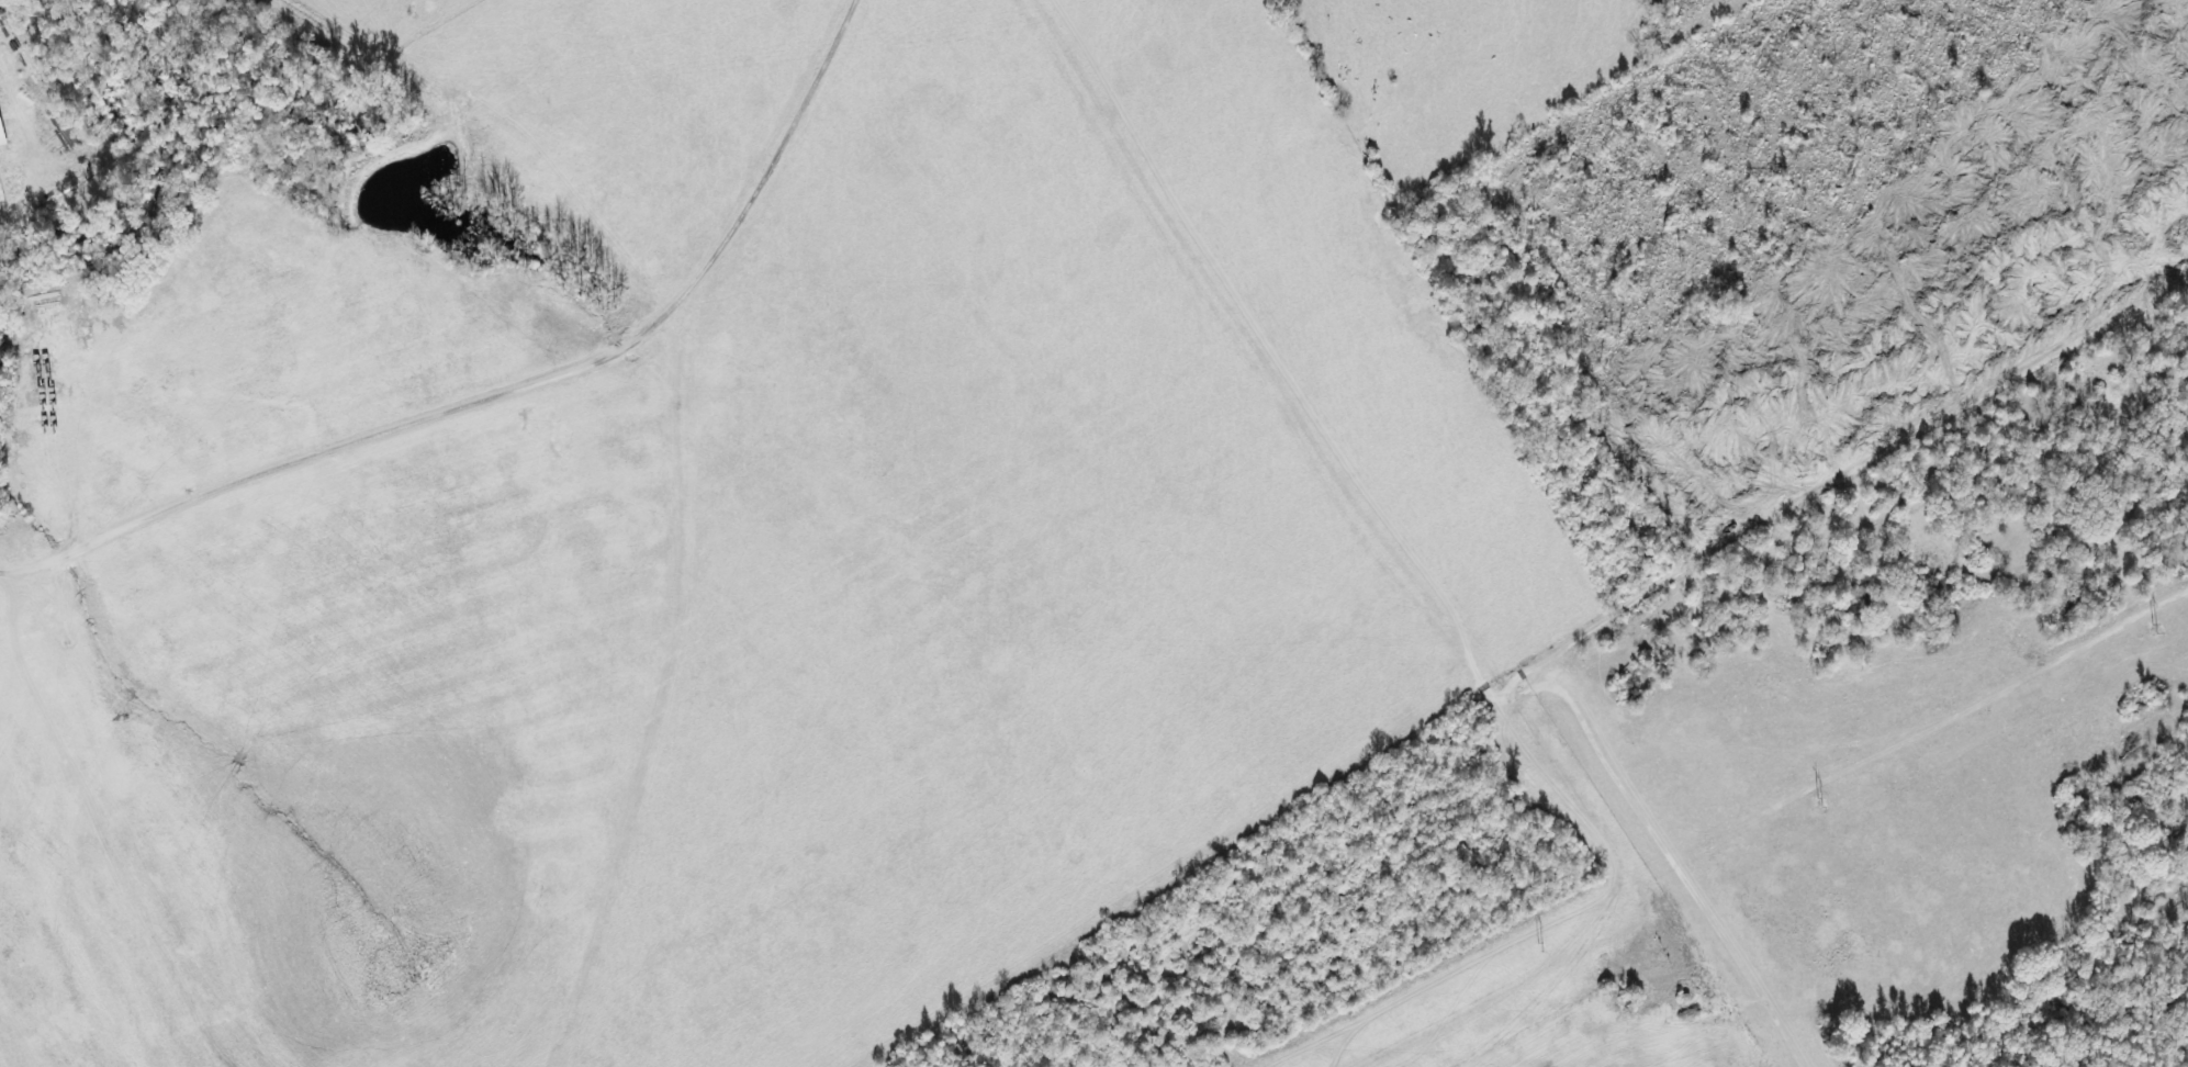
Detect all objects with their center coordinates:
building: (2, 135)
power tower: (2151, 624)
power tower: (1809, 794)
power tower: (1534, 943)

